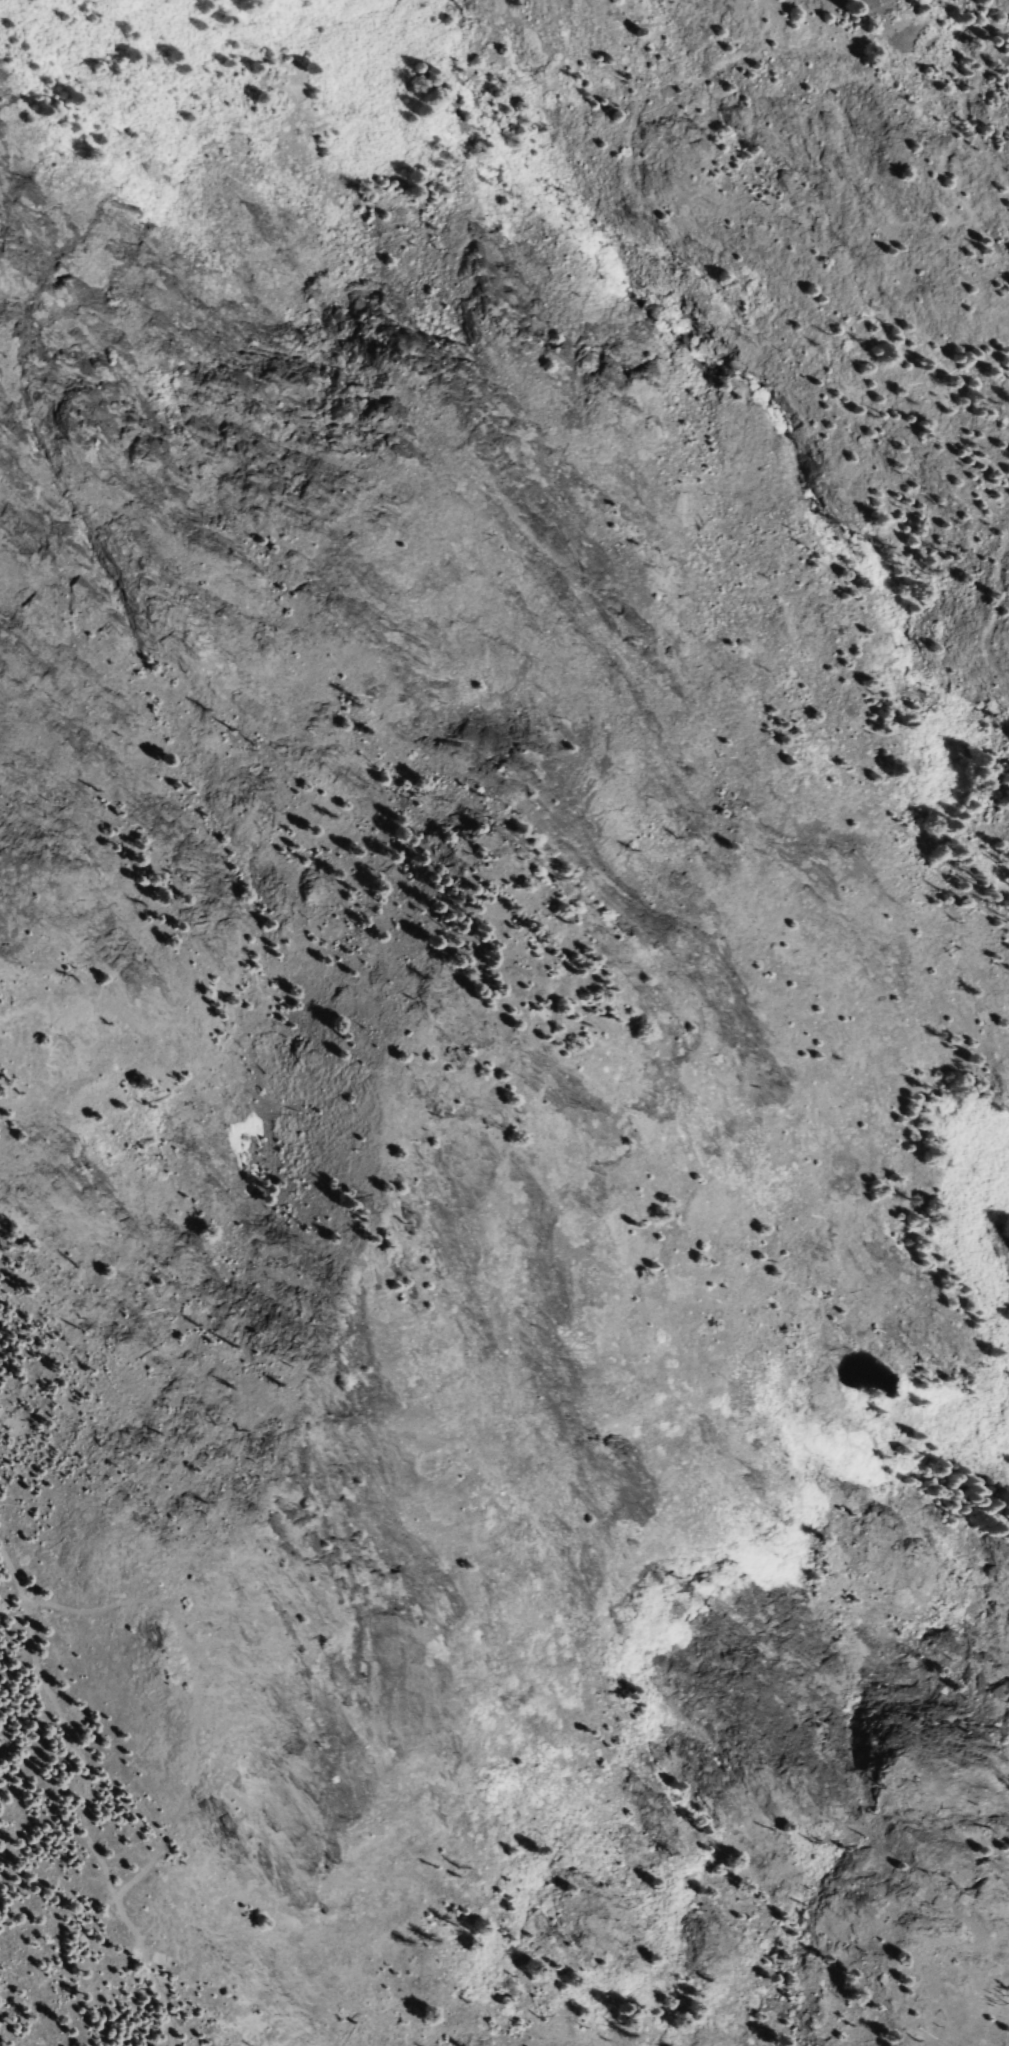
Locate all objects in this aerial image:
road: (927, 35)
road: (872, 57)
road: (989, 579)

